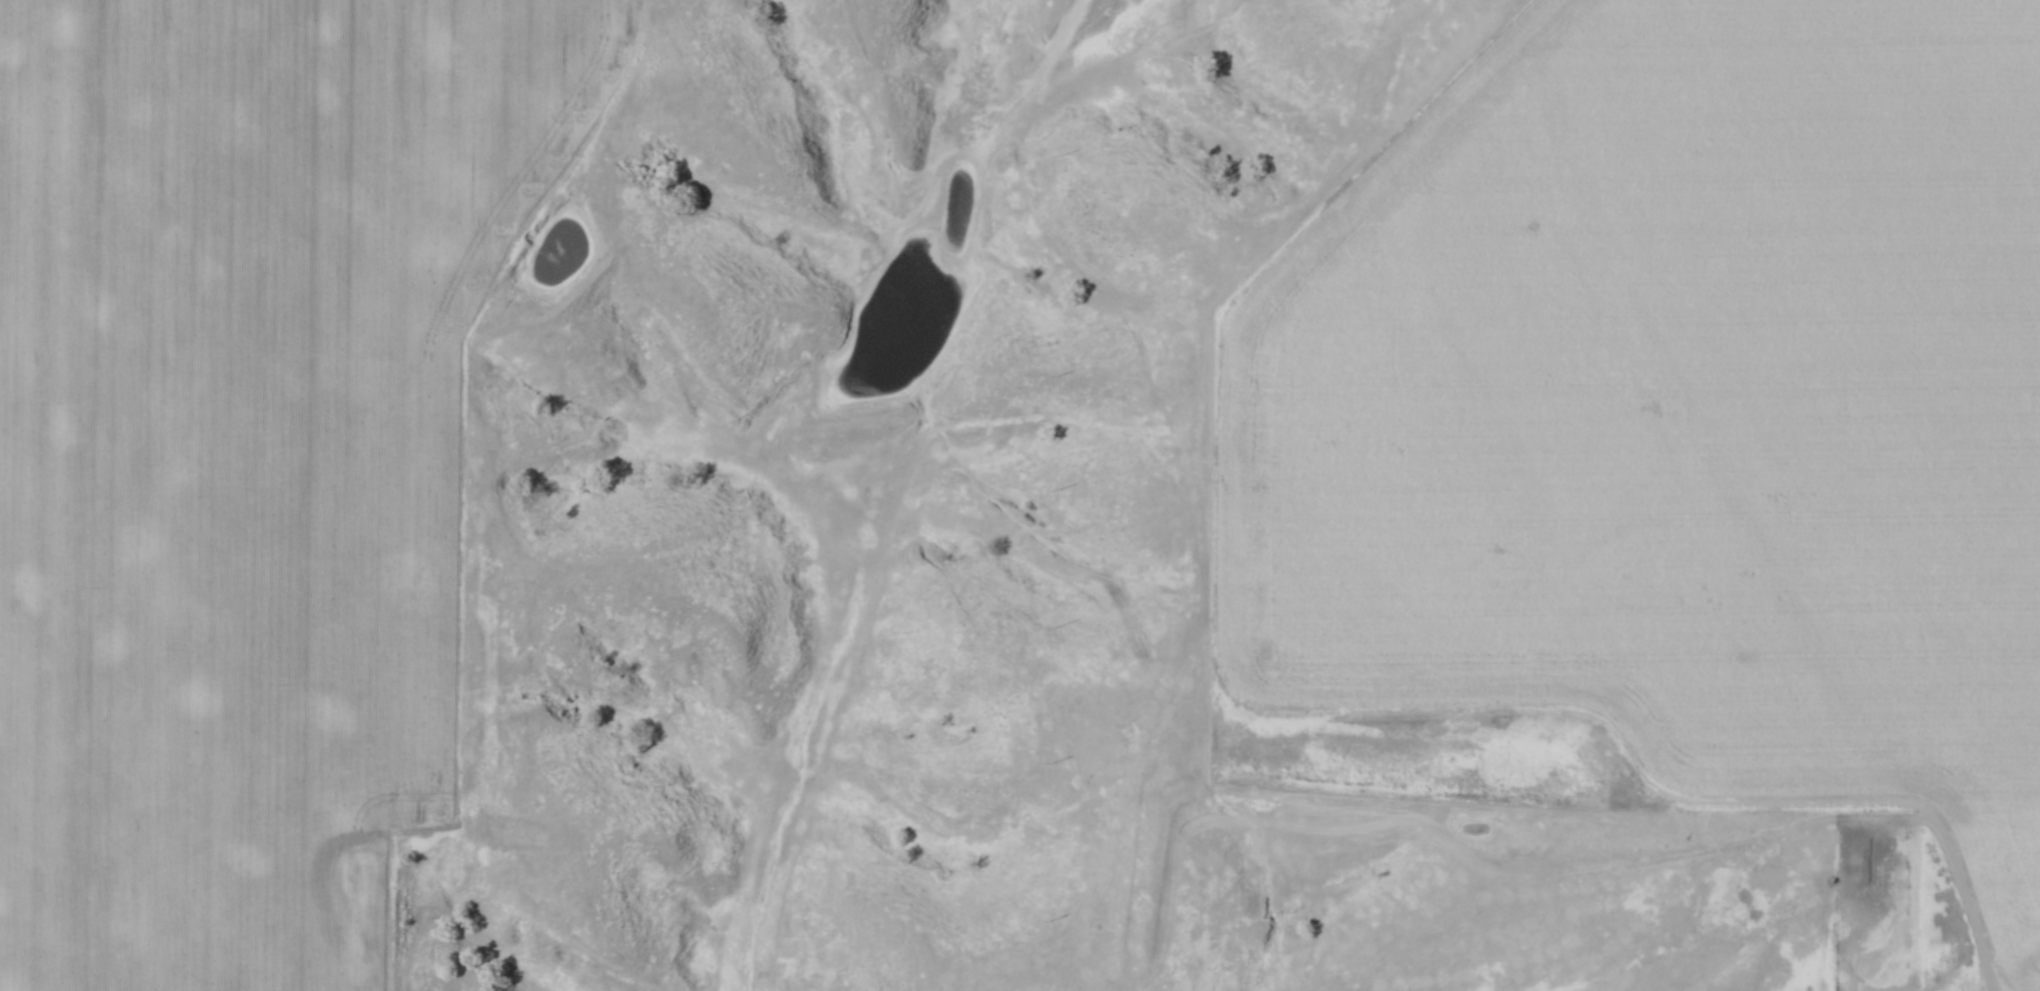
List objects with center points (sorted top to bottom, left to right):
crop: (1678, 412)
crop: (252, 459)

